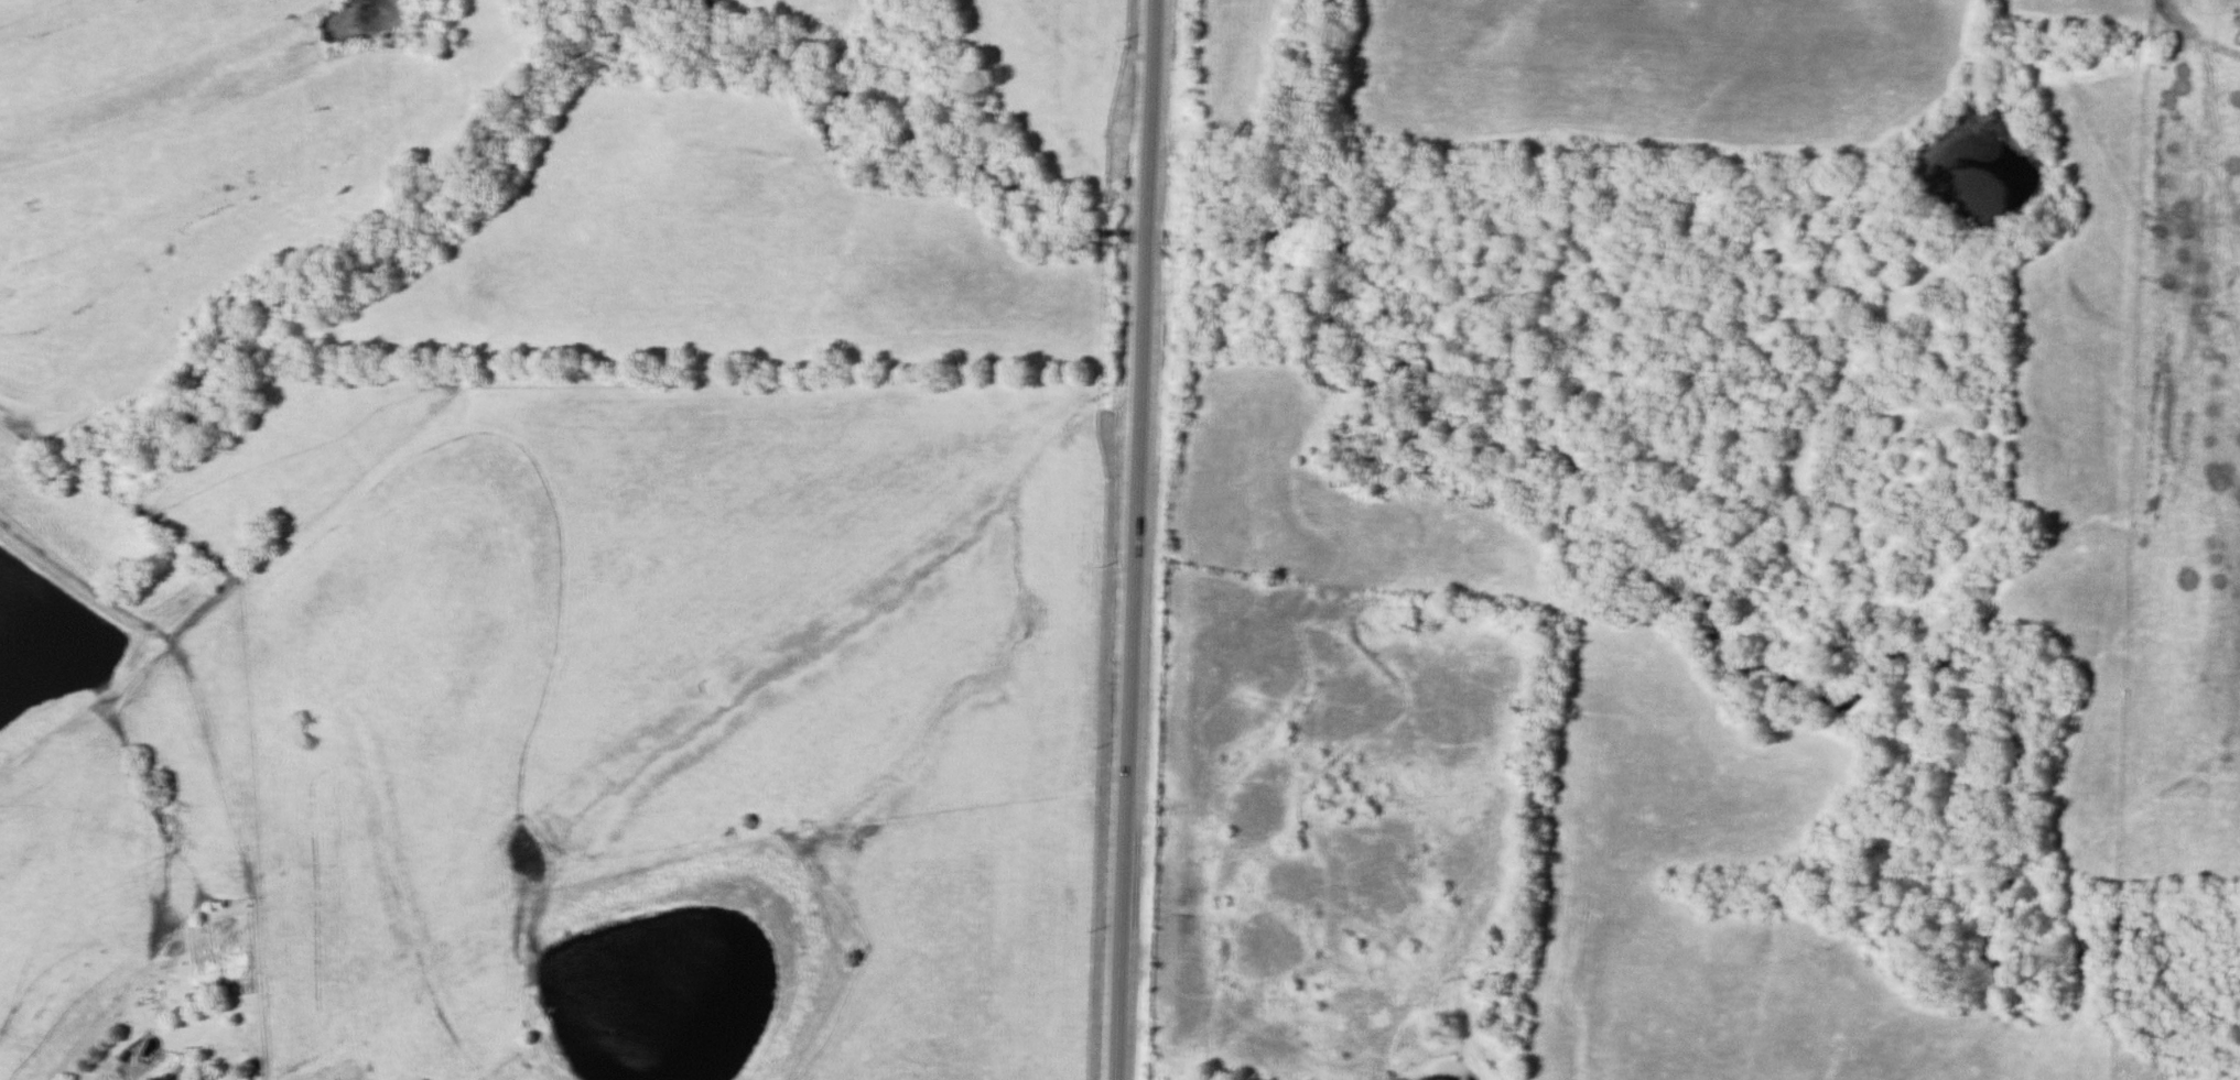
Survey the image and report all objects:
road: (1137, 539)

